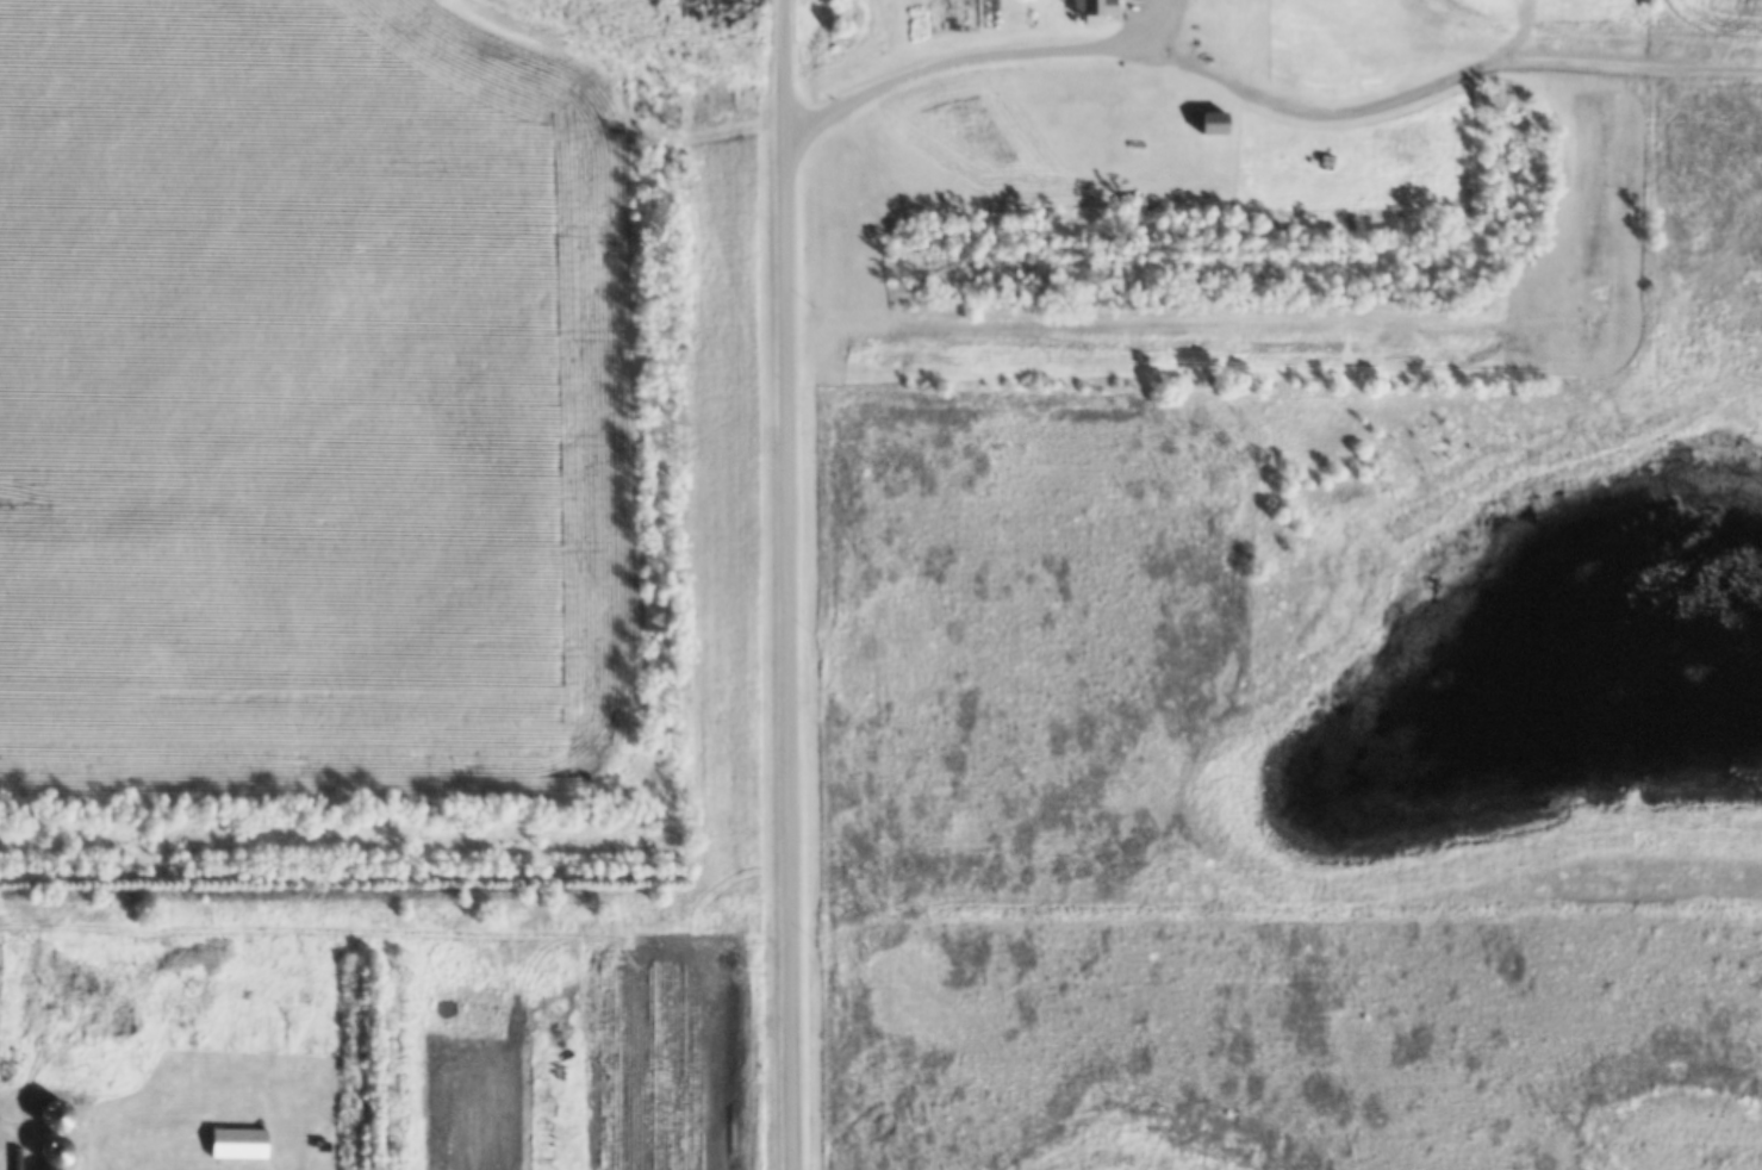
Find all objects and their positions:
building: (1096, 15)
road: (1185, 63)
building: (1215, 130)
road: (792, 585)
building: (236, 1141)
building: (52, 1151)
silo: (52, 1151)

